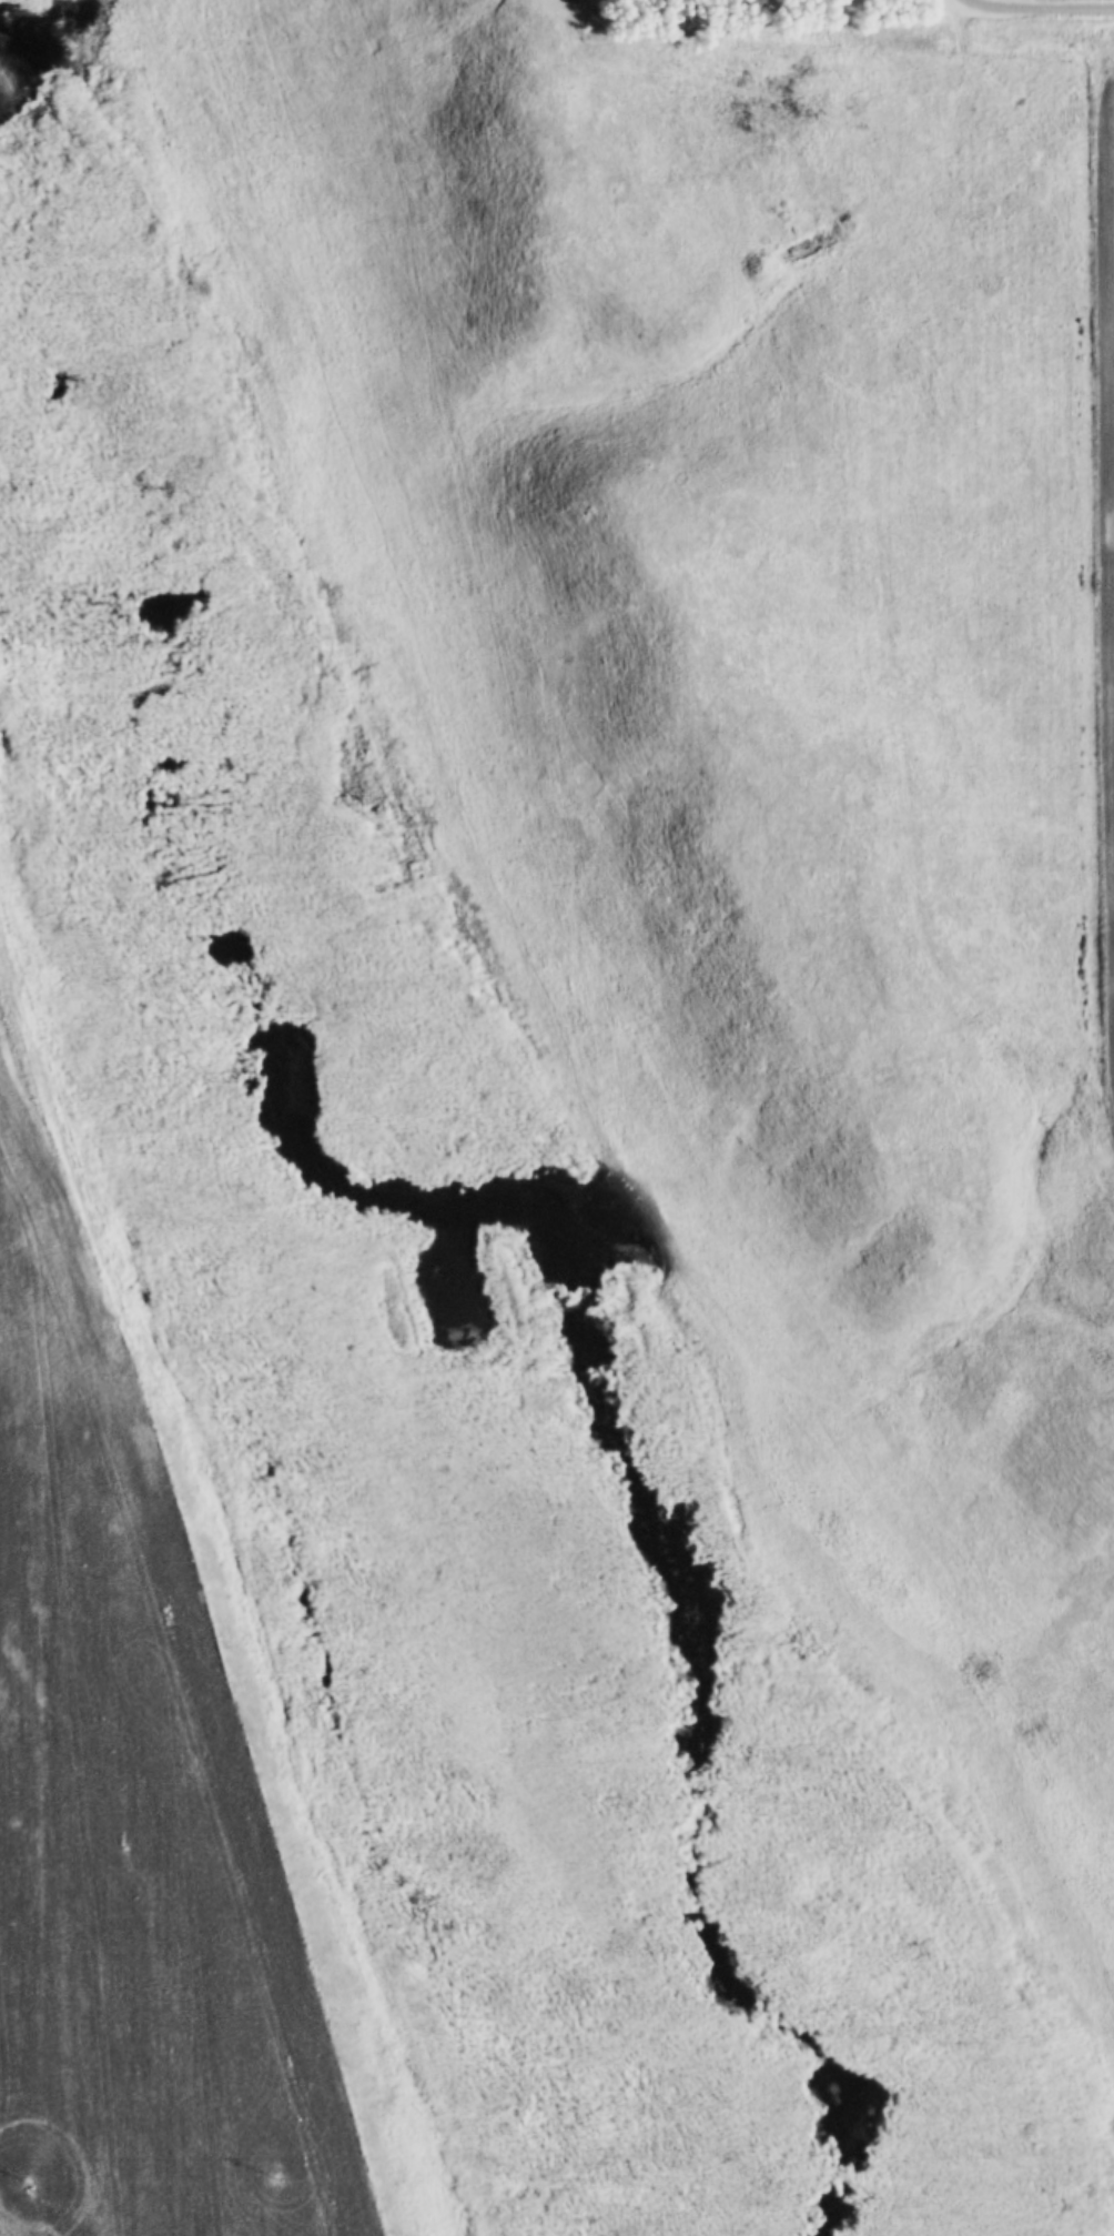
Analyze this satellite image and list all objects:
road: (1023, 3)
road: (1045, 7)

